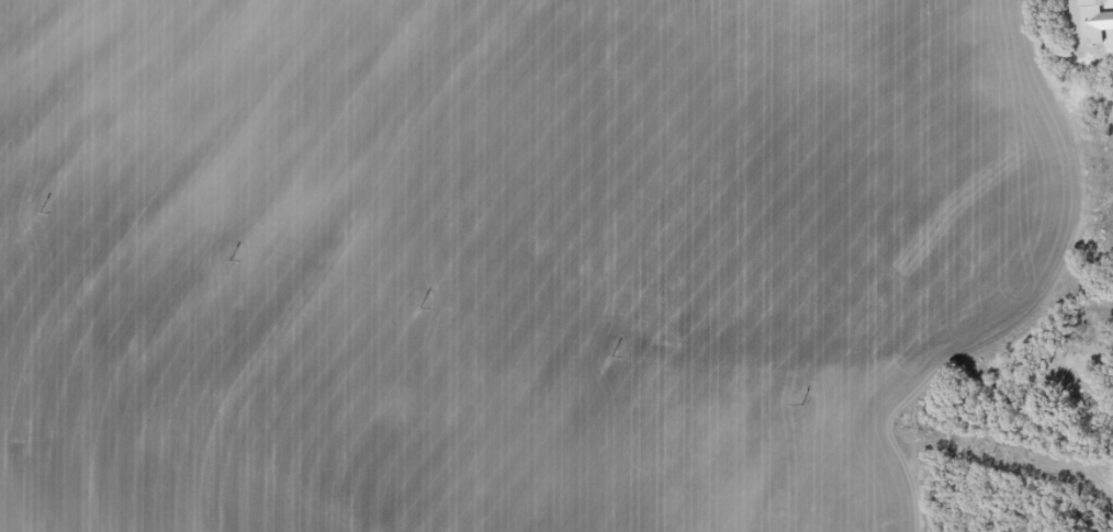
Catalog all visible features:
building: (1092, 22)

